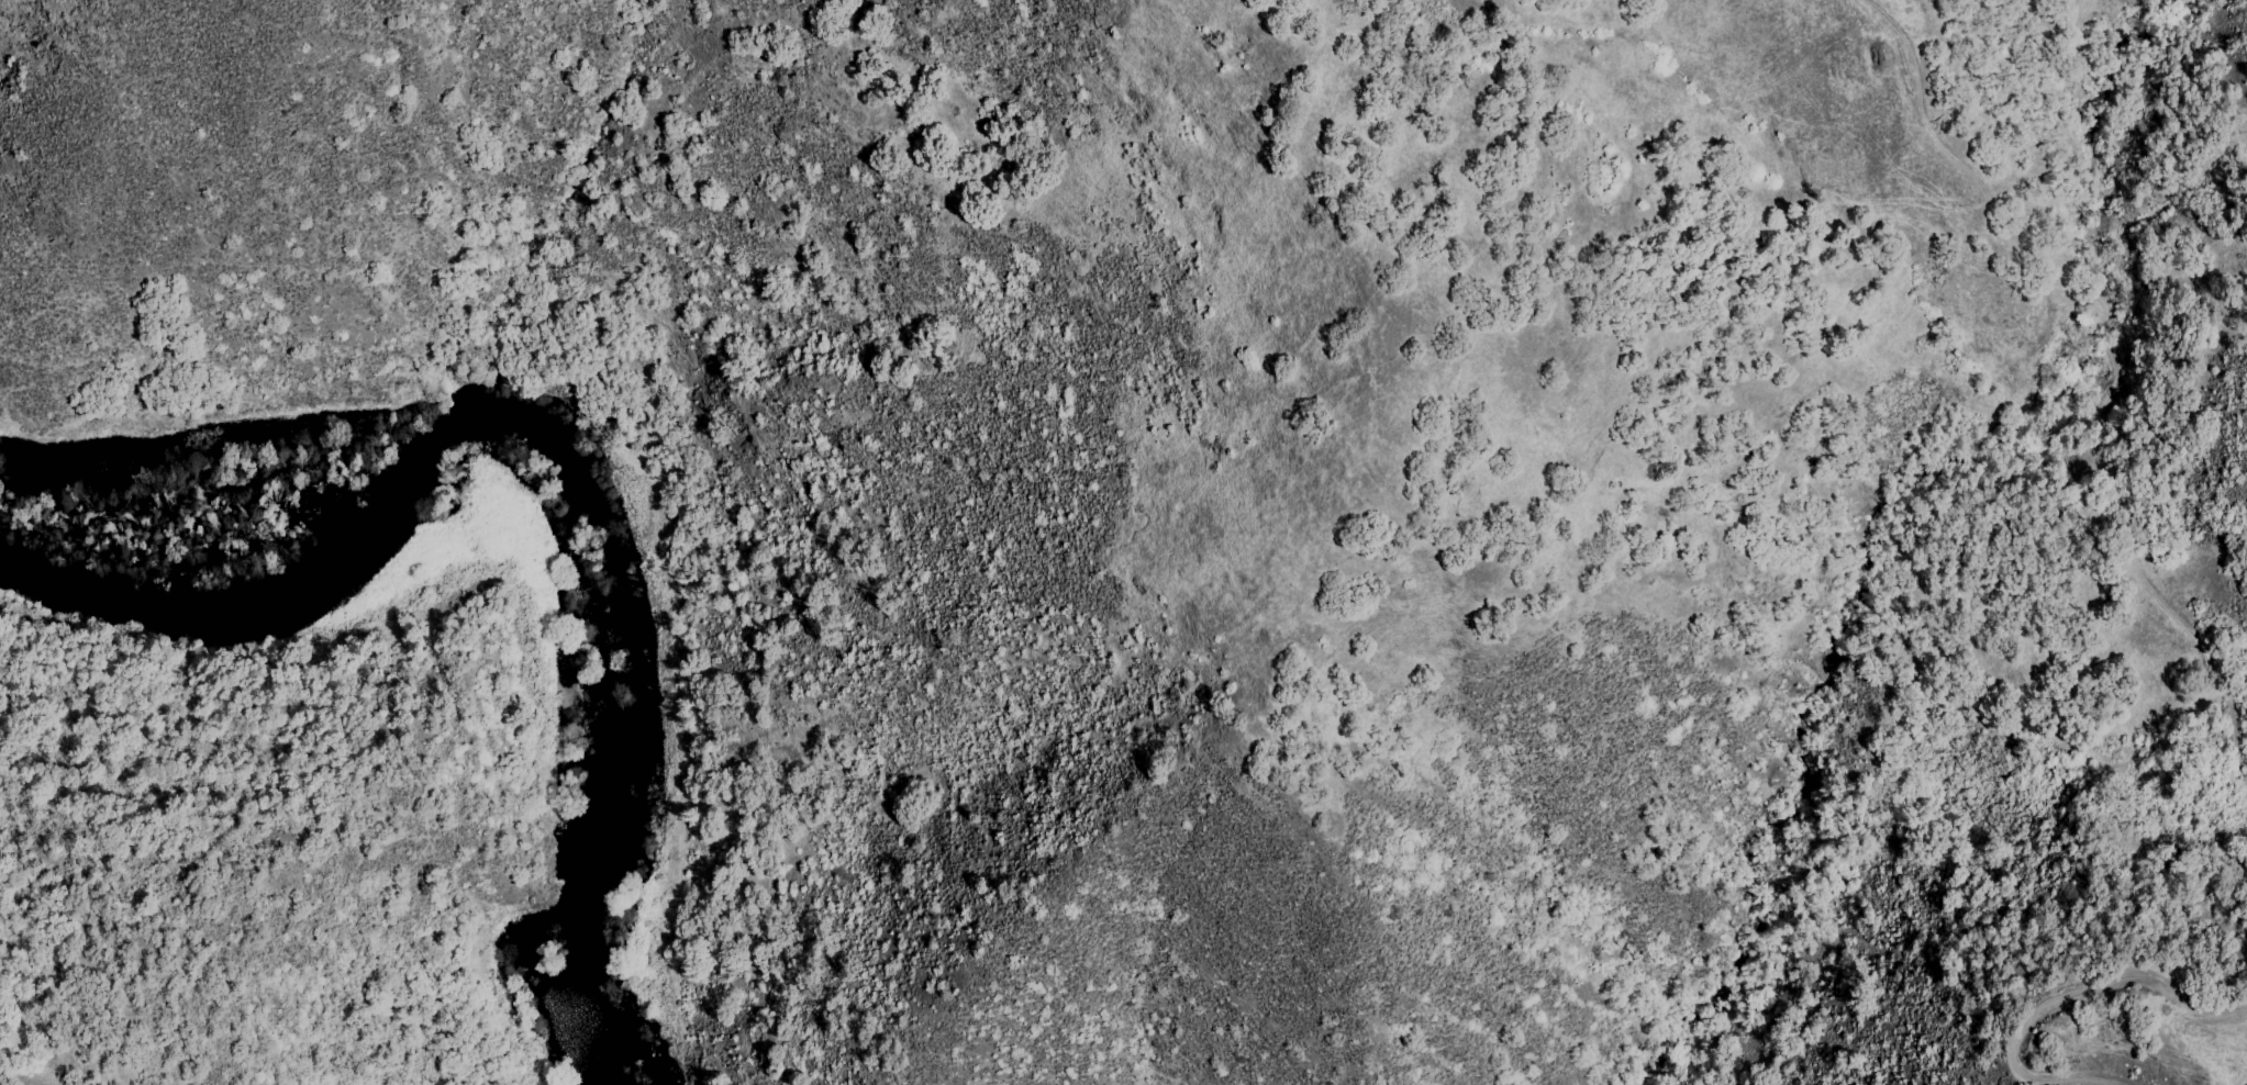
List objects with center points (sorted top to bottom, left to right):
road: (2056, 1000)

